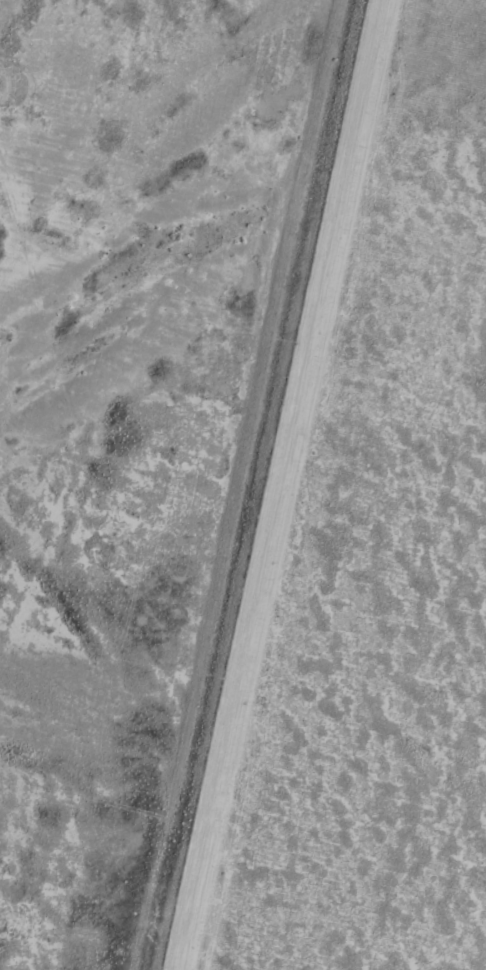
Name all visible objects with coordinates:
road: (275, 485)

